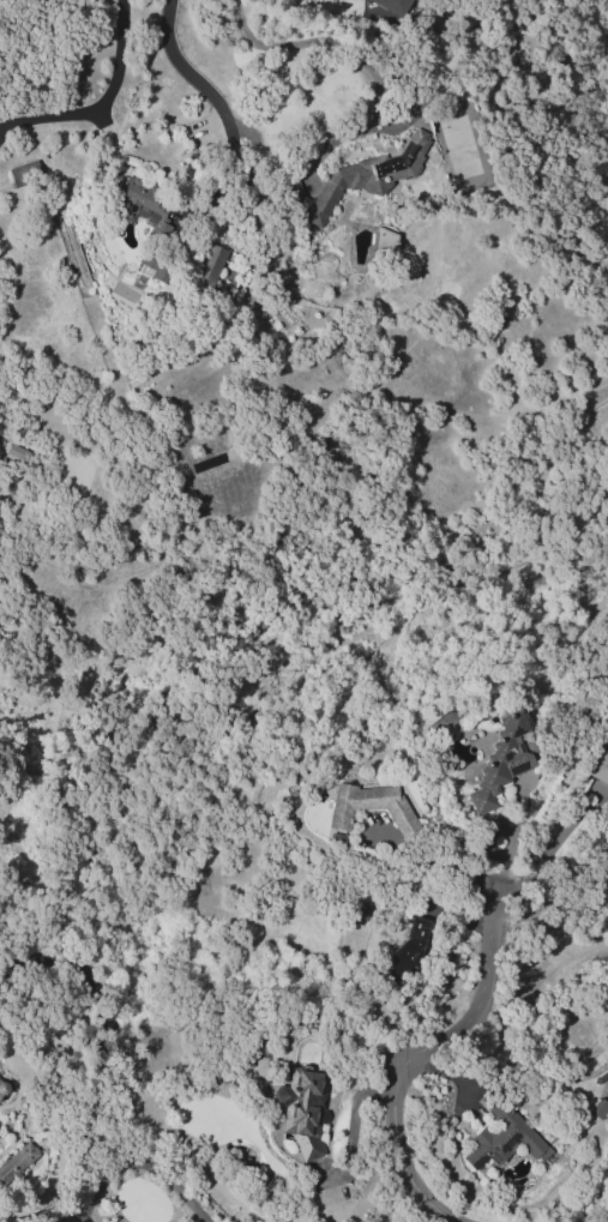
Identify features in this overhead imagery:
building: (391, 5)
road: (347, 44)
road: (189, 74)
road: (100, 101)
building: (24, 173)
building: (355, 183)
building: (144, 205)
building: (210, 267)
building: (153, 269)
road: (604, 525)
road: (349, 614)
building: (443, 718)
building: (501, 760)
building: (600, 762)
building: (371, 807)
road: (548, 847)
road: (427, 862)
road: (500, 866)
building: (408, 952)
road: (474, 999)
building: (2, 1086)
building: (301, 1109)
road: (68, 1133)
building: (502, 1137)
road: (401, 1157)
building: (17, 1162)
road: (140, 1163)

